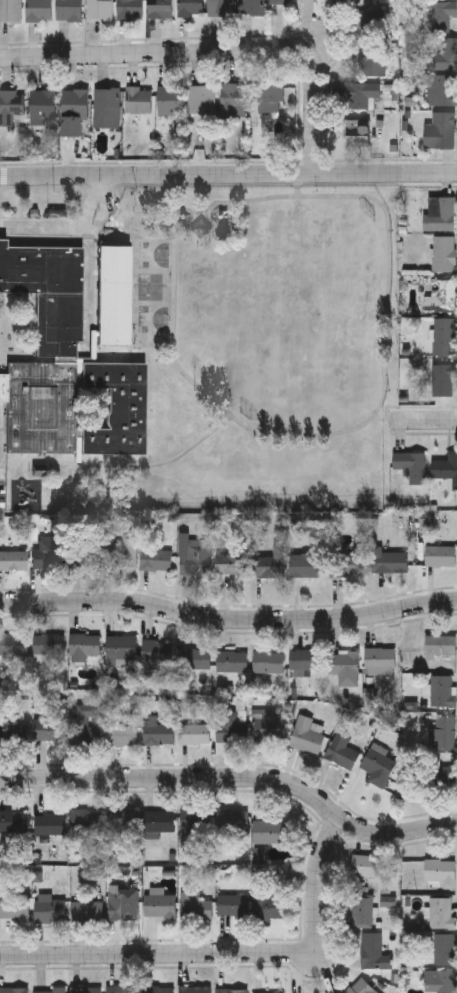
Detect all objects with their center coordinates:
building: (282, 1)
building: (353, 2)
building: (220, 6)
building: (190, 7)
building: (251, 7)
building: (99, 9)
building: (129, 9)
building: (160, 9)
building: (10, 10)
building: (38, 10)
building: (69, 10)
building: (441, 14)
building: (373, 24)
road: (213, 53)
building: (445, 54)
building: (373, 62)
building: (445, 89)
building: (361, 92)
building: (270, 95)
building: (138, 98)
building: (170, 98)
building: (202, 98)
building: (233, 99)
building: (10, 104)
building: (43, 106)
building: (106, 106)
building: (74, 111)
building: (444, 129)
building: (359, 137)
road: (228, 175)
building: (441, 215)
road: (69, 225)
building: (444, 253)
building: (441, 297)
building: (444, 336)
building: (4, 337)
building: (72, 355)
building: (443, 379)
road: (425, 421)
building: (411, 465)
building: (447, 469)
building: (48, 554)
building: (440, 557)
building: (104, 558)
building: (13, 560)
building: (155, 560)
building: (196, 562)
building: (389, 562)
building: (232, 565)
building: (349, 565)
building: (268, 566)
building: (307, 566)
road: (228, 619)
building: (46, 644)
building: (13, 646)
building: (84, 646)
building: (441, 646)
building: (121, 648)
building: (157, 652)
building: (194, 660)
building: (305, 660)
building: (379, 660)
building: (231, 662)
building: (269, 662)
building: (343, 663)
building: (442, 692)
building: (230, 729)
building: (271, 729)
building: (46, 731)
building: (85, 732)
building: (12, 733)
building: (442, 734)
building: (159, 736)
building: (194, 736)
building: (121, 737)
building: (307, 738)
building: (342, 756)
building: (379, 765)
building: (444, 777)
road: (238, 779)
building: (124, 820)
building: (196, 820)
building: (232, 820)
building: (13, 822)
building: (86, 823)
building: (159, 823)
building: (50, 826)
building: (271, 833)
building: (367, 867)
building: (440, 874)
building: (124, 906)
building: (233, 906)
building: (159, 907)
building: (14, 908)
building: (194, 908)
building: (271, 908)
building: (49, 912)
building: (86, 912)
building: (361, 914)
building: (441, 915)
building: (445, 951)
building: (373, 953)
road: (226, 954)
building: (440, 982)
building: (122, 990)
building: (158, 990)
building: (194, 990)
building: (13, 991)
building: (49, 991)
building: (86, 991)
building: (231, 991)

